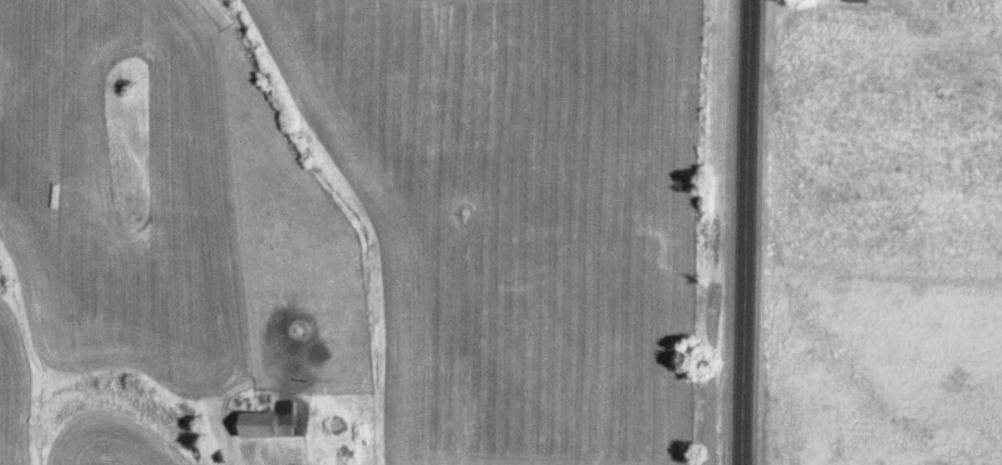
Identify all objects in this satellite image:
building: (862, 1)
road: (750, 232)
building: (274, 425)

